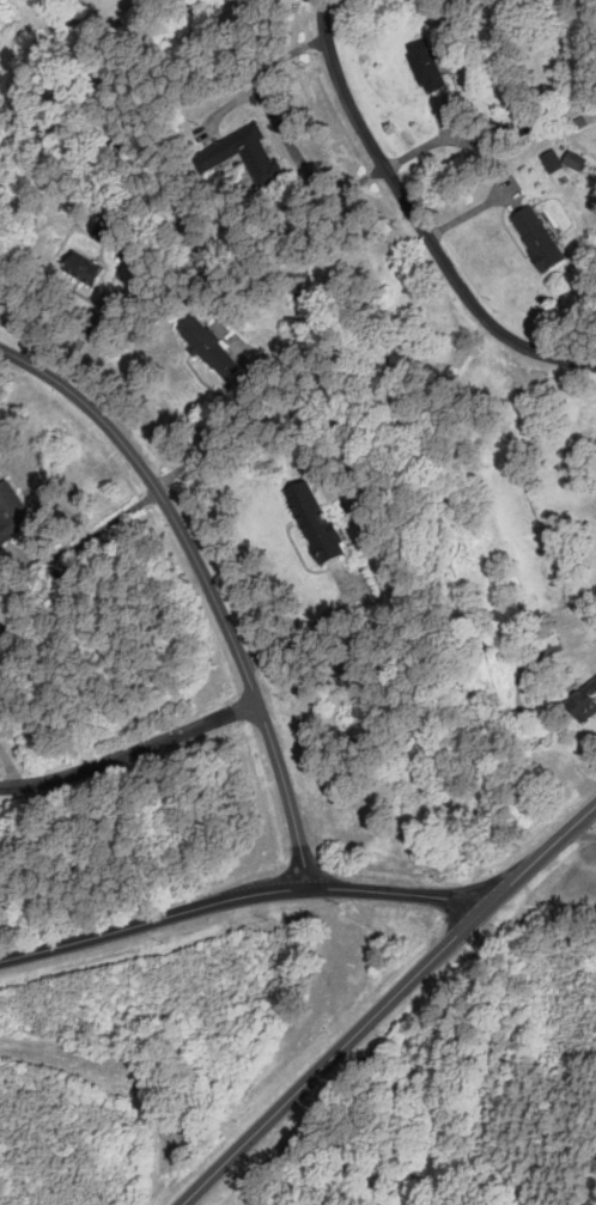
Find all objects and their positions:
building: (426, 66)
road: (281, 129)
building: (245, 154)
building: (552, 160)
road: (418, 220)
building: (102, 232)
building: (537, 237)
building: (80, 267)
building: (207, 346)
road: (205, 445)
building: (11, 512)
building: (312, 521)
road: (86, 534)
road: (206, 583)
building: (583, 704)
road: (129, 753)
road: (8, 766)
road: (583, 832)
road: (242, 896)
road: (407, 984)
road: (199, 1185)

